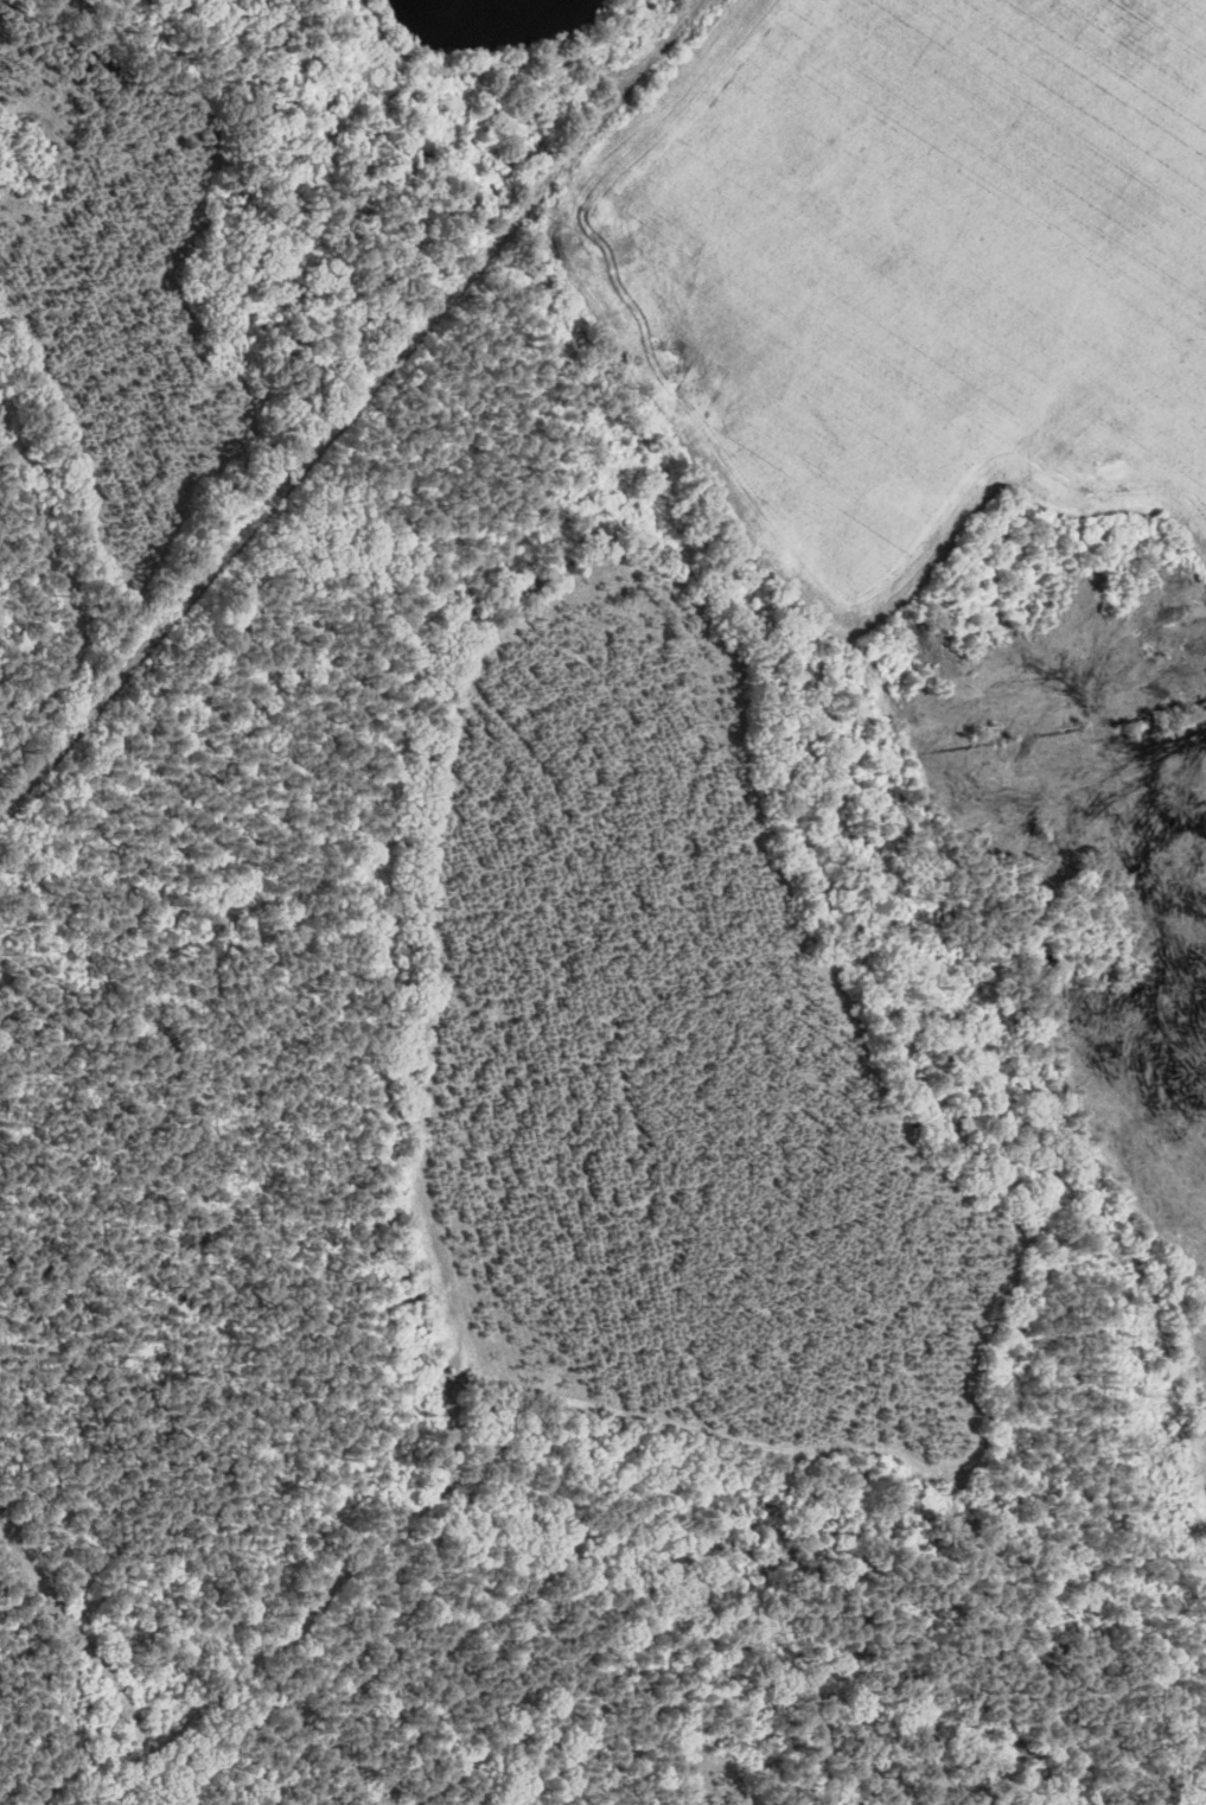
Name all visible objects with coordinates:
railway: (355, 407)

